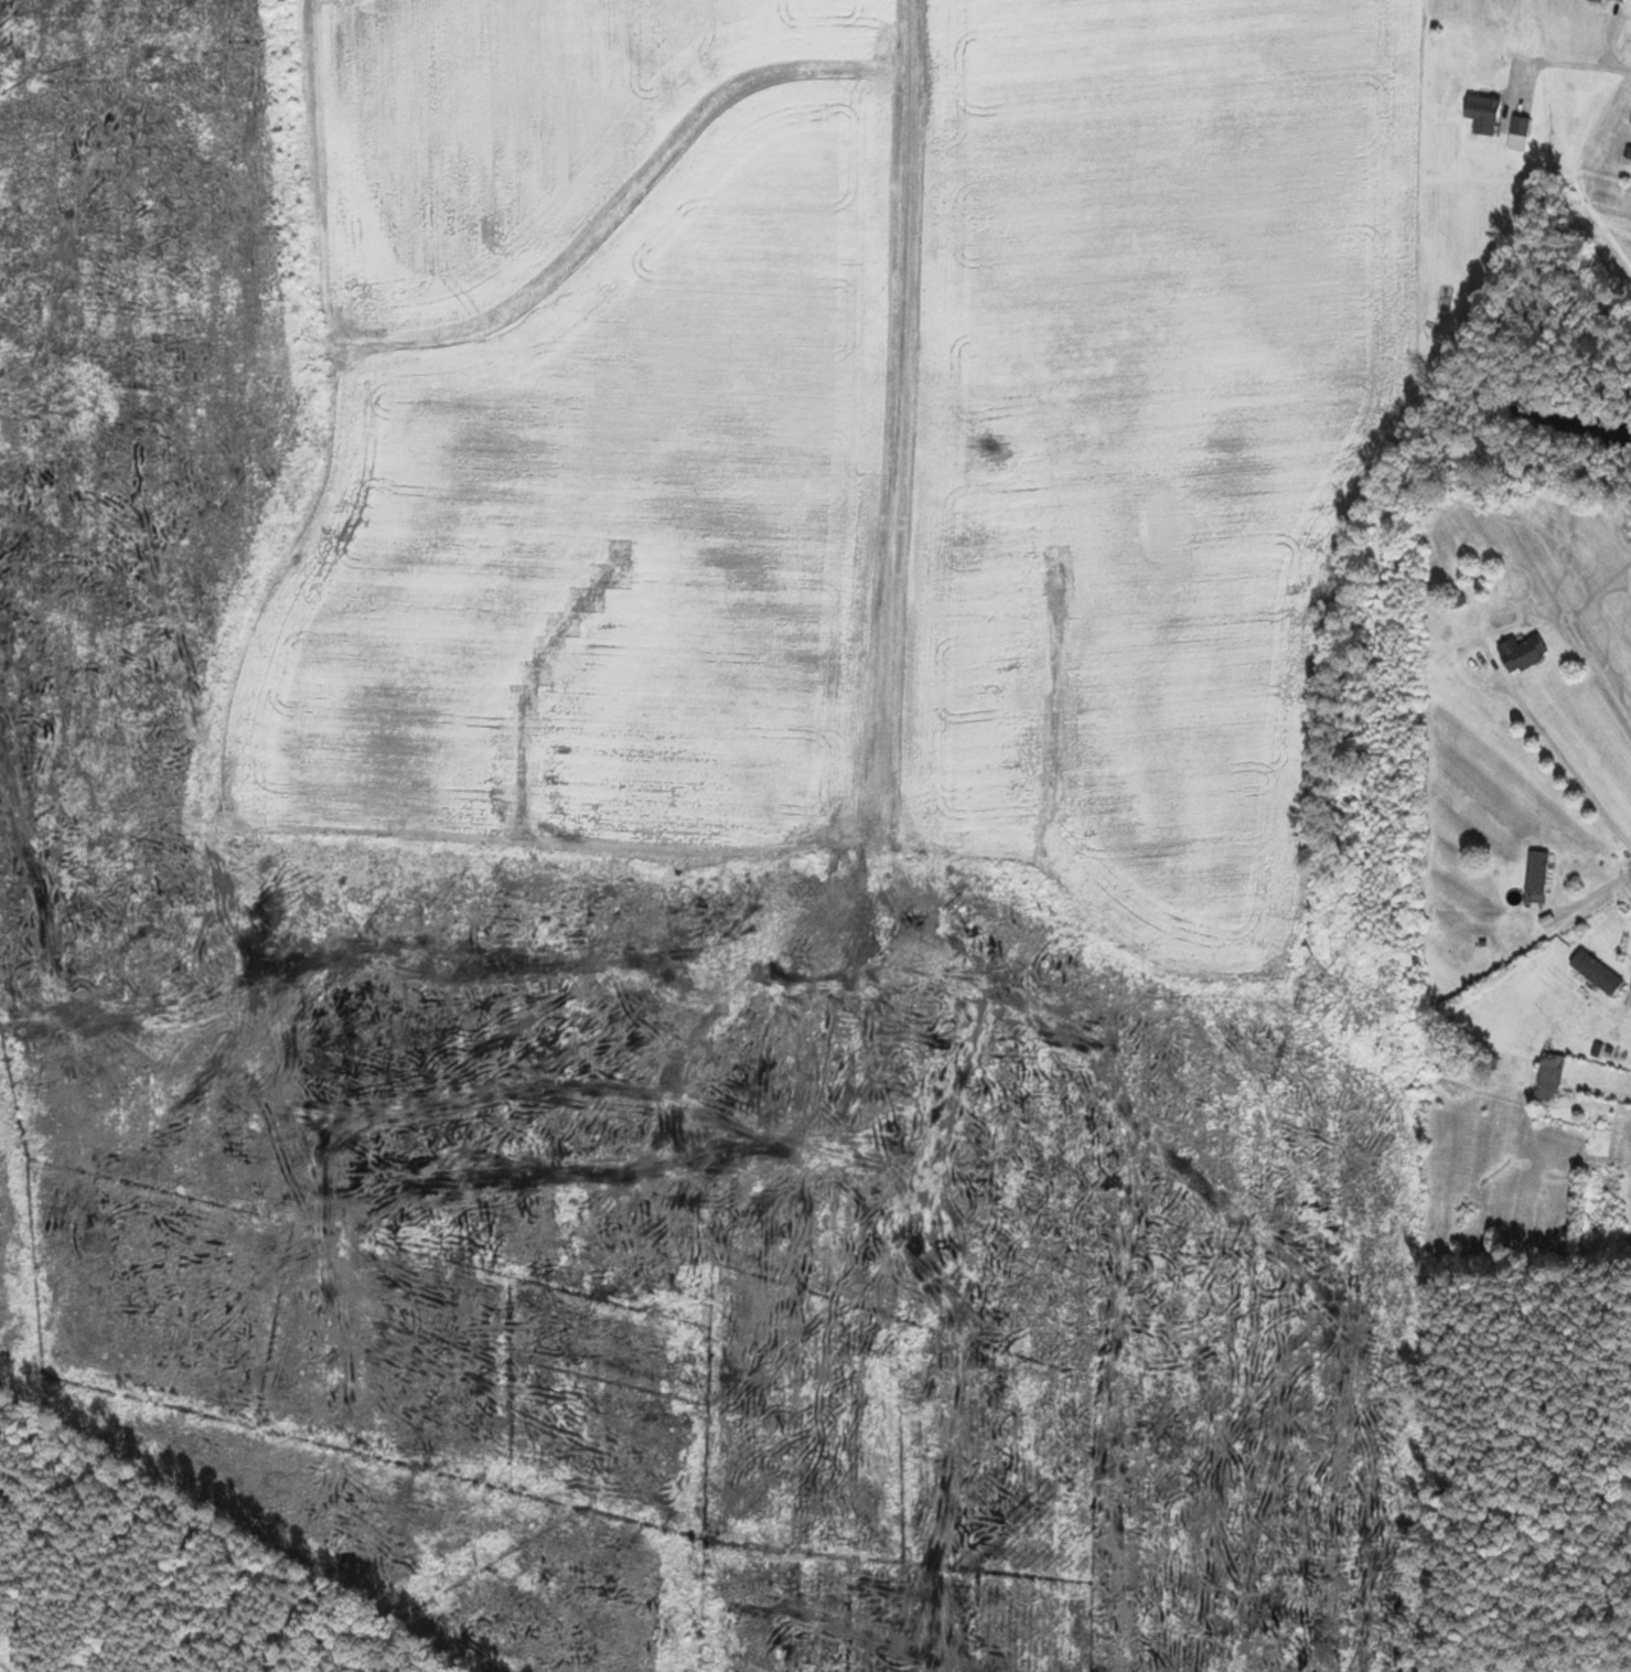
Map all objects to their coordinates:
building: (1618, 1)
road: (1574, 69)
building: (1483, 108)
building: (1521, 125)
building: (1523, 654)
building: (1537, 872)
building: (1597, 973)
building: (1549, 1079)

